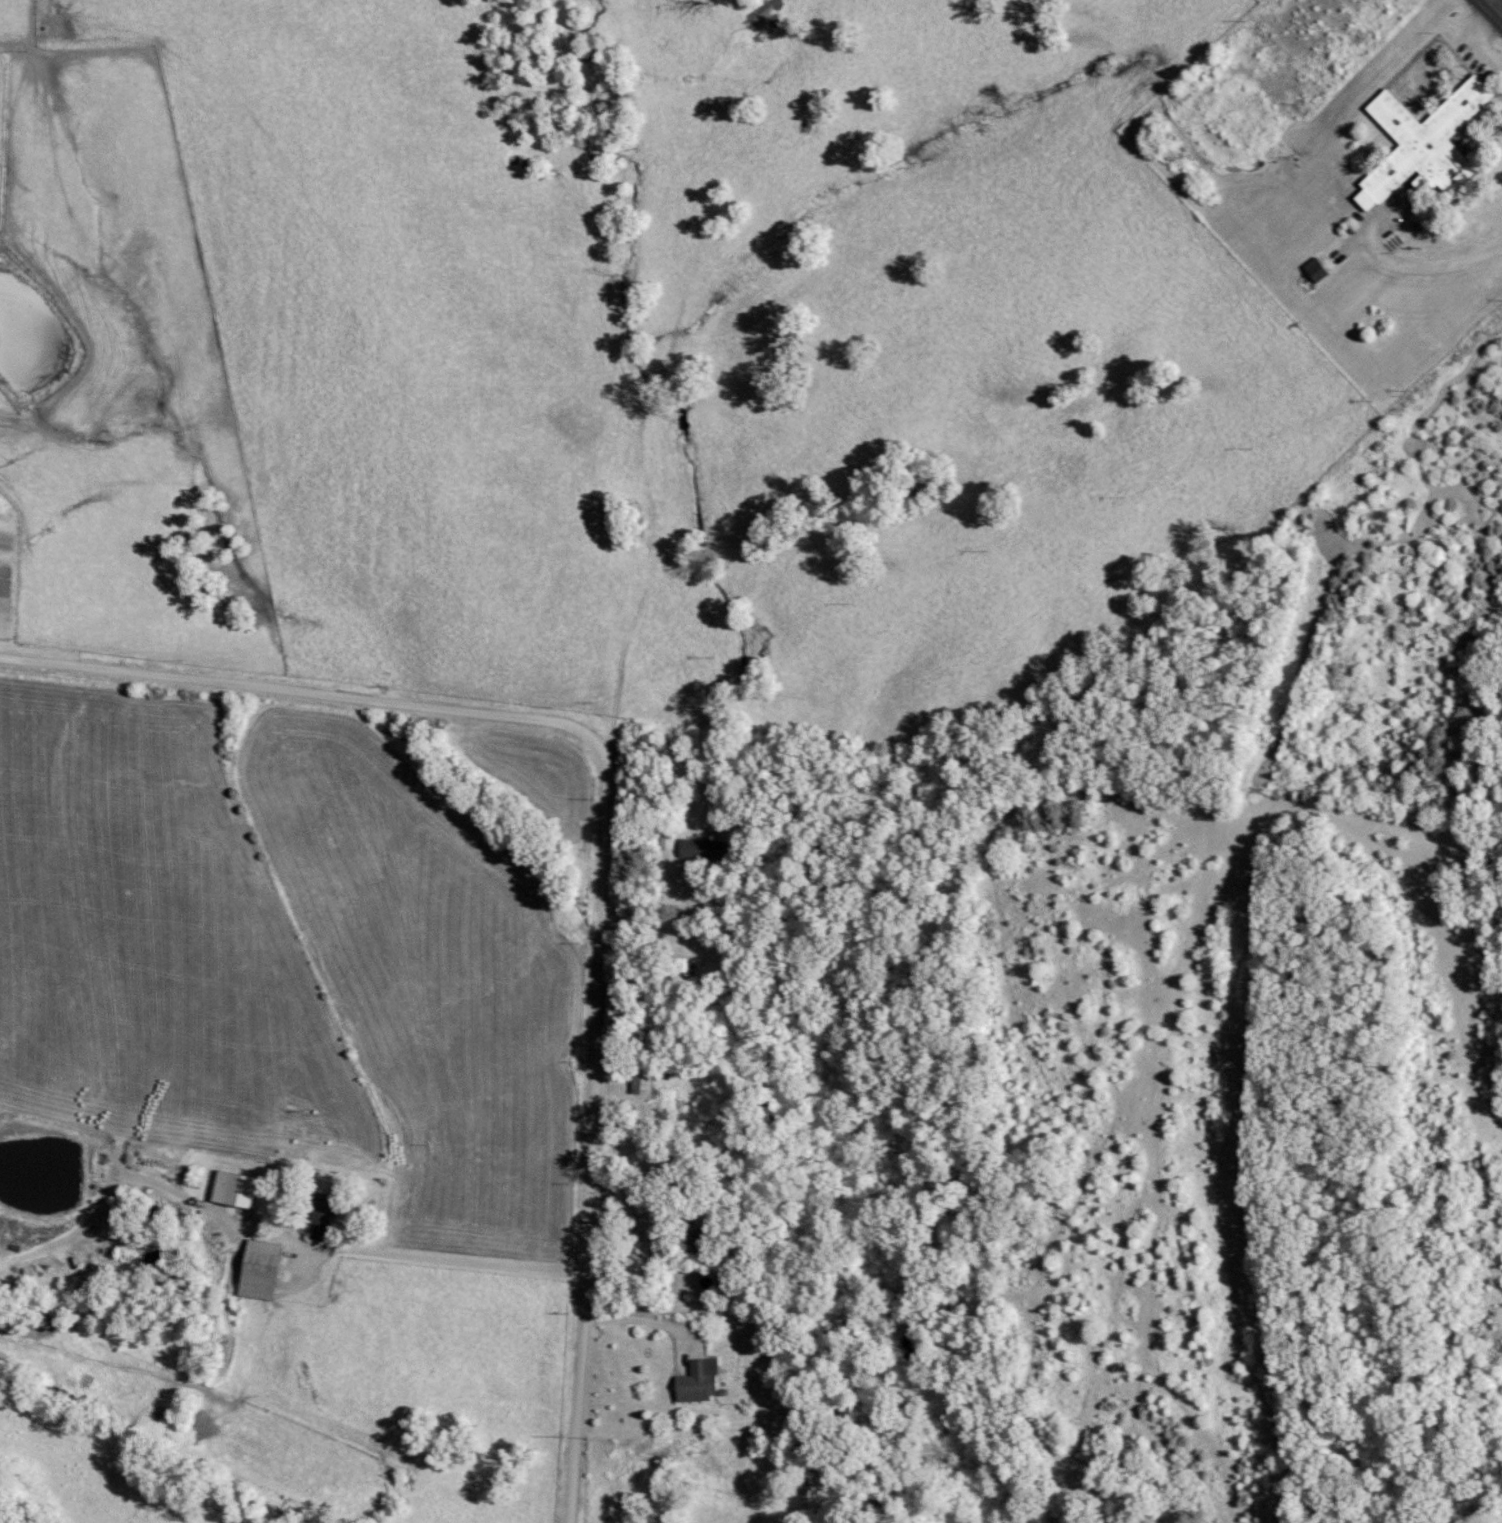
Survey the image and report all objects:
road: (1495, 7)
building: (1413, 138)
road: (1438, 261)
road: (611, 822)
building: (664, 841)
building: (638, 1081)
building: (243, 1191)
building: (324, 1217)
road: (462, 1258)
building: (265, 1271)
road: (710, 1305)
building: (693, 1382)

